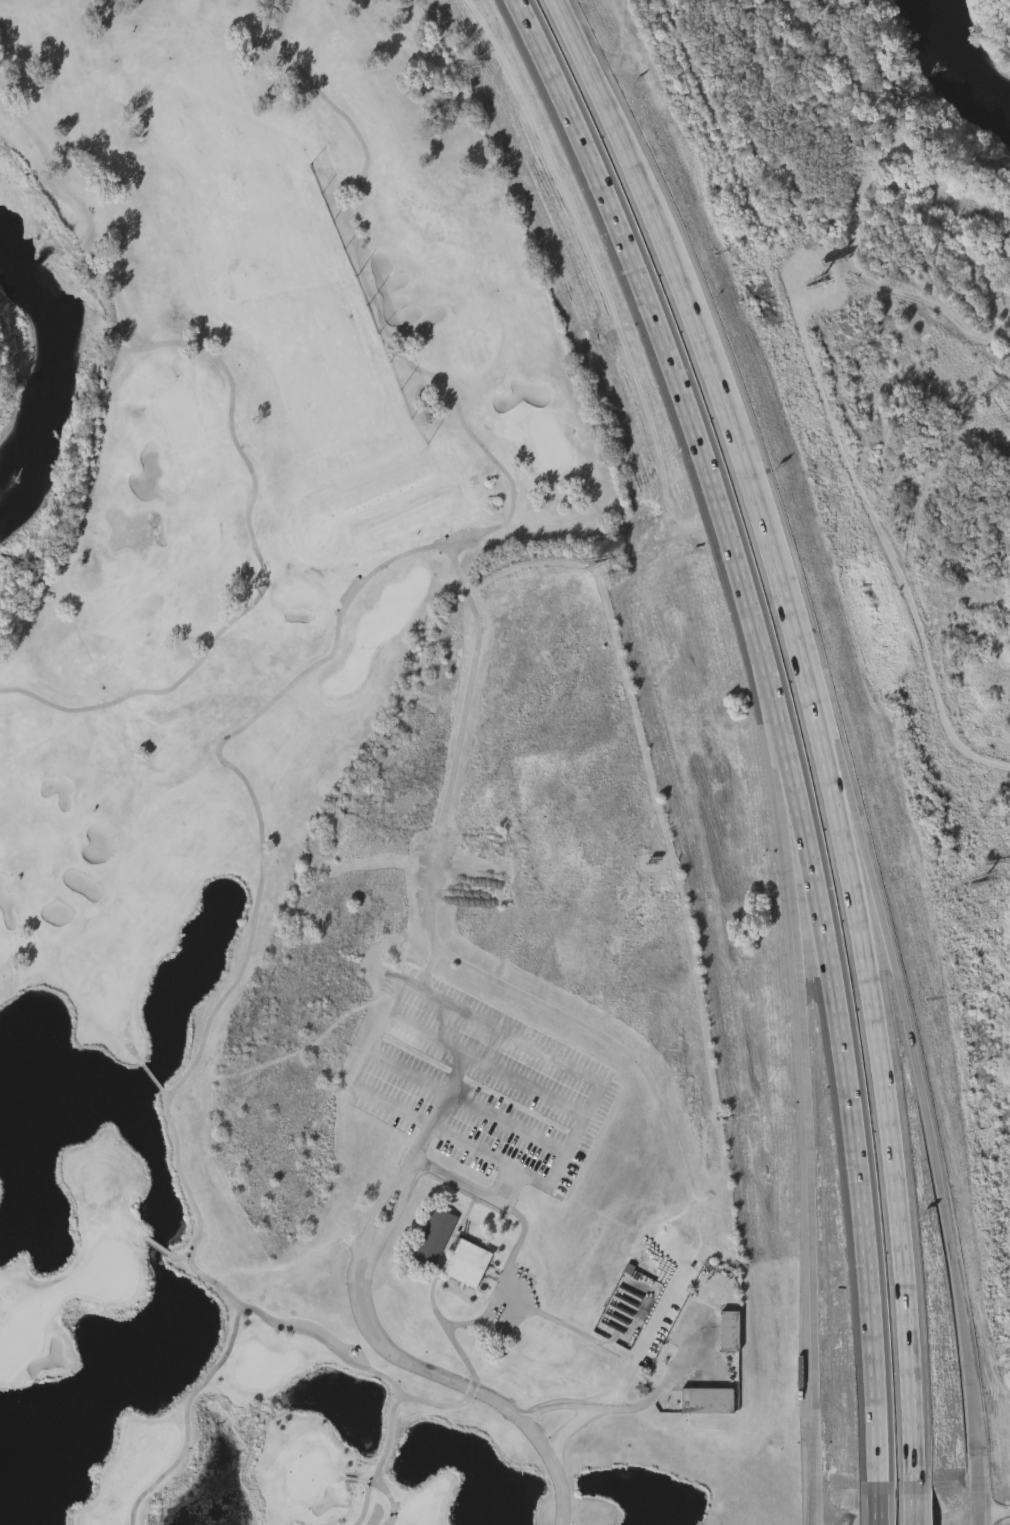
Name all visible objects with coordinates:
river: (953, 64)
road: (620, 138)
road: (674, 375)
river: (41, 395)
park: (18, 399)
road: (758, 511)
road: (432, 546)
road: (895, 551)
road: (841, 790)
road: (788, 811)
park: (329, 829)
road: (432, 934)
road: (436, 1001)
road: (429, 1035)
road: (154, 1079)
road: (539, 1093)
road: (167, 1095)
road: (469, 1106)
road: (887, 1117)
road: (853, 1127)
road: (934, 1166)
road: (514, 1168)
road: (811, 1183)
road: (199, 1213)
building: (434, 1235)
road: (687, 1245)
road: (160, 1248)
road: (516, 1250)
road: (182, 1258)
building: (466, 1262)
road: (516, 1322)
road: (326, 1344)
road: (413, 1362)
road: (671, 1380)
building: (708, 1399)
road: (441, 1405)
road: (188, 1418)
road: (392, 1439)
road: (393, 1501)
road: (368, 1502)
road: (994, 1504)
road: (914, 1508)
road: (877, 1509)
road: (978, 1514)
road: (815, 1518)

